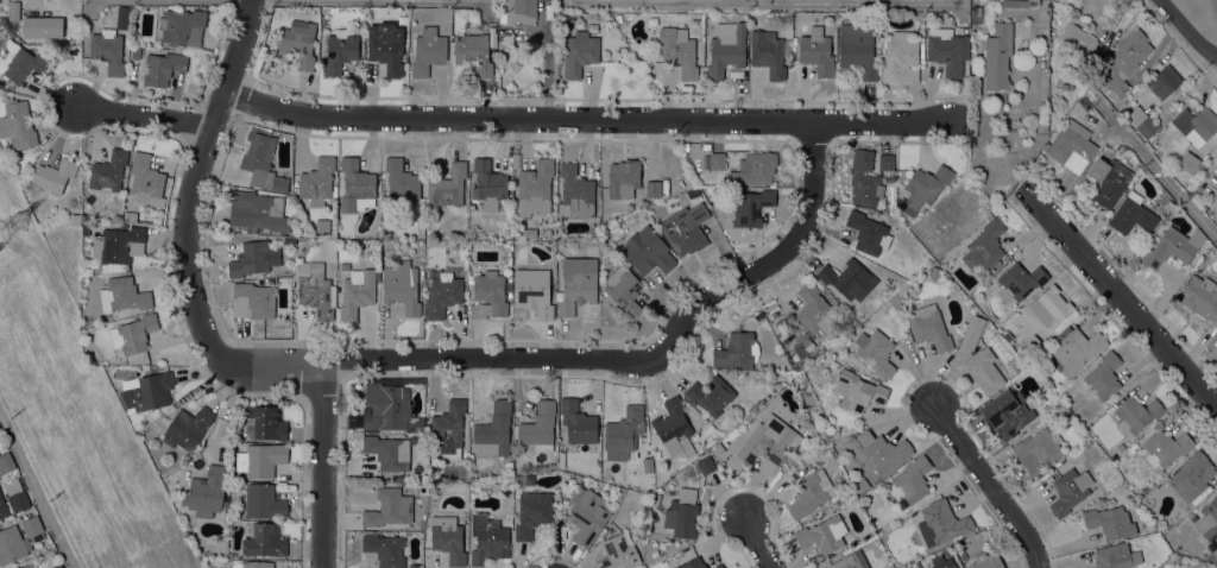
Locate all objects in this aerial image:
building: (1014, 2)
road: (762, 4)
building: (1095, 5)
building: (13, 11)
building: (521, 12)
building: (976, 14)
building: (928, 15)
building: (122, 17)
building: (76, 19)
building: (182, 26)
building: (592, 26)
building: (42, 27)
building: (76, 27)
road: (1186, 29)
building: (77, 37)
building: (1077, 38)
building: (298, 42)
building: (386, 46)
building: (726, 49)
building: (857, 49)
building: (107, 50)
building: (428, 50)
building: (679, 50)
building: (947, 50)
building: (339, 51)
building: (816, 51)
building: (135, 52)
building: (474, 52)
building: (580, 52)
building: (768, 53)
building: (997, 56)
building: (901, 58)
building: (1123, 62)
building: (24, 64)
building: (162, 68)
building: (1164, 81)
road: (145, 118)
road: (585, 119)
building: (1142, 121)
building: (17, 124)
building: (1196, 124)
building: (1072, 146)
building: (261, 159)
building: (717, 160)
road: (1154, 160)
building: (1188, 162)
building: (885, 163)
building: (755, 168)
building: (108, 170)
building: (55, 173)
building: (145, 177)
building: (623, 178)
building: (864, 179)
building: (1109, 179)
road: (196, 181)
building: (401, 181)
building: (316, 182)
building: (355, 183)
building: (488, 184)
building: (447, 185)
building: (535, 187)
building: (652, 188)
building: (923, 188)
building: (692, 191)
building: (575, 193)
building: (748, 206)
building: (1167, 206)
building: (260, 210)
building: (130, 216)
building: (1131, 216)
building: (75, 220)
building: (348, 222)
power tower: (14, 225)
building: (84, 226)
building: (686, 228)
building: (529, 233)
building: (868, 233)
building: (561, 241)
building: (118, 244)
building: (984, 246)
building: (1172, 247)
building: (647, 251)
building: (250, 259)
building: (934, 272)
building: (95, 278)
building: (849, 278)
building: (1020, 280)
building: (578, 283)
building: (402, 286)
building: (532, 290)
building: (624, 290)
building: (317, 291)
building: (357, 292)
building: (441, 292)
building: (487, 294)
building: (124, 295)
building: (1200, 297)
building: (252, 299)
road: (1124, 304)
building: (1053, 309)
building: (816, 310)
building: (759, 316)
building: (929, 326)
building: (971, 332)
building: (137, 333)
building: (1008, 336)
building: (1032, 343)
building: (807, 345)
building: (1076, 349)
building: (737, 351)
building: (878, 354)
road: (592, 359)
building: (833, 364)
building: (984, 371)
building: (1104, 375)
building: (857, 390)
building: (152, 391)
building: (711, 395)
building: (386, 408)
building: (1007, 414)
building: (1136, 414)
building: (264, 422)
building: (576, 422)
building: (807, 424)
building: (538, 427)
building: (187, 428)
building: (449, 428)
building: (674, 428)
building: (624, 429)
building: (493, 430)
building: (768, 443)
building: (1166, 447)
building: (717, 448)
building: (1133, 448)
building: (1038, 449)
building: (878, 450)
building: (389, 454)
building: (260, 459)
building: (606, 459)
building: (6, 462)
road: (324, 463)
building: (509, 465)
building: (706, 465)
building: (1192, 475)
building: (913, 479)
building: (860, 484)
road: (991, 485)
building: (1070, 491)
building: (206, 492)
building: (809, 492)
road: (34, 496)
building: (655, 498)
building: (264, 501)
building: (13, 503)
building: (389, 507)
building: (532, 512)
building: (682, 513)
building: (587, 516)
building: (1207, 519)
building: (942, 522)
building: (1110, 522)
building: (822, 535)
building: (448, 538)
building: (19, 539)
building: (264, 539)
building: (488, 539)
power tower: (888, 539)
road: (756, 542)
building: (384, 549)
building: (618, 553)
building: (50, 555)
building: (963, 556)
building: (1116, 556)
building: (1213, 556)
building: (850, 561)
building: (942, 561)
building: (985, 561)
building: (692, 563)
building: (253, 564)
building: (29, 566)
building: (58, 566)
building: (718, 566)

